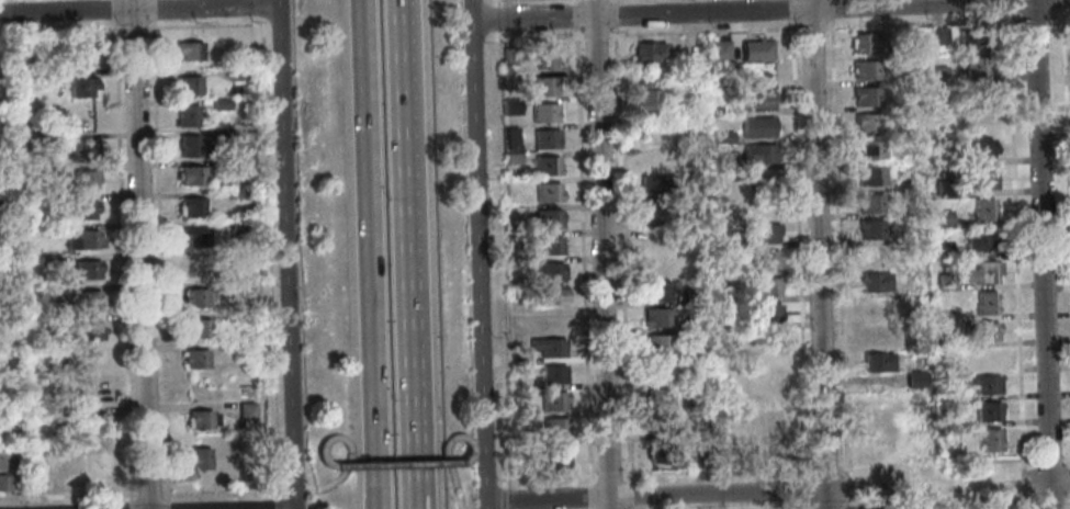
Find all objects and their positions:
road: (615, 0)
road: (576, 1)
road: (496, 3)
road: (261, 8)
road: (138, 9)
road: (113, 11)
road: (747, 11)
road: (615, 13)
road: (576, 15)
road: (496, 19)
road: (838, 24)
road: (204, 26)
road: (133, 27)
road: (60, 29)
road: (596, 34)
road: (536, 36)
building: (938, 36)
building: (973, 39)
building: (866, 43)
building: (189, 52)
building: (719, 52)
building: (756, 52)
building: (86, 53)
building: (649, 53)
building: (508, 57)
building: (544, 58)
building: (976, 66)
building: (865, 70)
building: (937, 73)
building: (236, 75)
building: (47, 81)
building: (190, 86)
building: (543, 87)
building: (82, 88)
building: (979, 95)
building: (644, 97)
building: (866, 97)
road: (1067, 99)
building: (757, 101)
building: (221, 104)
building: (509, 106)
building: (543, 113)
building: (188, 116)
building: (85, 120)
building: (867, 123)
building: (757, 128)
building: (221, 134)
road: (404, 137)
building: (722, 137)
building: (510, 139)
building: (544, 139)
building: (83, 148)
building: (193, 148)
building: (977, 149)
building: (867, 150)
building: (758, 155)
building: (511, 158)
building: (650, 158)
building: (723, 162)
building: (226, 165)
building: (545, 166)
building: (192, 176)
building: (870, 177)
building: (981, 179)
building: (83, 180)
building: (655, 185)
building: (944, 189)
building: (547, 193)
building: (239, 194)
building: (46, 202)
building: (870, 203)
building: (192, 206)
building: (83, 210)
building: (982, 210)
building: (657, 212)
building: (548, 219)
building: (943, 219)
building: (239, 226)
building: (870, 230)
building: (755, 234)
road: (837, 236)
building: (195, 237)
road: (799, 237)
building: (86, 241)
building: (980, 241)
building: (548, 246)
building: (943, 249)
road: (286, 253)
road: (623, 253)
road: (1016, 253)
road: (140, 255)
road: (375, 255)
road: (478, 255)
road: (584, 255)
road: (601, 255)
road: (819, 255)
road: (1041, 255)
building: (875, 256)
road: (270, 258)
building: (767, 260)
building: (48, 261)
road: (122, 262)
road: (160, 263)
building: (195, 268)
building: (87, 270)
building: (549, 273)
building: (982, 273)
building: (946, 282)
building: (875, 283)
building: (244, 286)
building: (766, 287)
building: (656, 292)
building: (53, 294)
building: (692, 295)
building: (552, 296)
building: (195, 298)
building: (89, 301)
building: (985, 303)
building: (875, 308)
building: (768, 315)
building: (656, 318)
building: (3, 325)
building: (198, 328)
building: (91, 330)
building: (984, 332)
building: (877, 336)
building: (945, 342)
building: (657, 344)
building: (241, 349)
building: (549, 349)
building: (196, 360)
building: (985, 360)
building: (93, 363)
building: (877, 363)
building: (947, 366)
building: (553, 375)
road: (413, 384)
building: (983, 385)
building: (90, 392)
building: (658, 398)
building: (553, 401)
building: (699, 406)
building: (987, 411)
building: (54, 412)
building: (246, 412)
building: (199, 419)
building: (768, 420)
building: (92, 422)
building: (660, 425)
building: (553, 428)
building: (734, 428)
building: (521, 438)
building: (990, 440)
building: (664, 454)
building: (699, 455)
road: (349, 456)
road: (447, 456)
road: (465, 457)
building: (557, 457)
road: (1026, 457)
building: (199, 459)
building: (93, 462)
road: (329, 463)
road: (397, 463)
building: (522, 464)
building: (246, 467)
road: (826, 468)
road: (843, 468)
road: (718, 472)
road: (609, 474)
road: (550, 476)
road: (1046, 479)
road: (505, 482)
building: (4, 483)
building: (38, 483)
road: (935, 485)
road: (846, 486)
road: (808, 487)
road: (280, 490)
road: (294, 490)
road: (218, 493)
road: (148, 495)
road: (630, 495)
road: (666, 495)
road: (68, 496)
road: (592, 496)
road: (505, 497)
road: (417, 501)
road: (417, 501)
road: (1027, 502)
road: (278, 504)
road: (166, 505)
road: (809, 505)
road: (847, 505)
road: (129, 506)
road: (852, 508)

